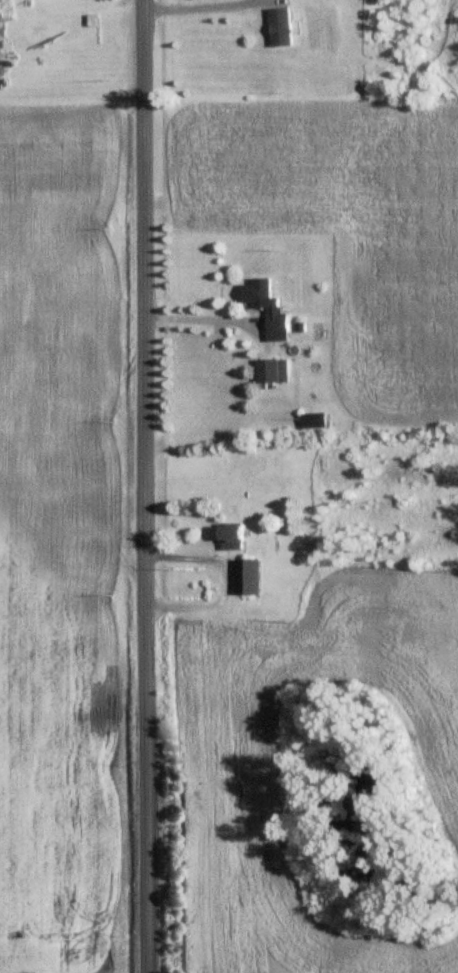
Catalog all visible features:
road: (197, 5)
building: (279, 26)
building: (266, 305)
road: (208, 330)
building: (274, 370)
building: (313, 420)
road: (147, 486)
building: (231, 536)

